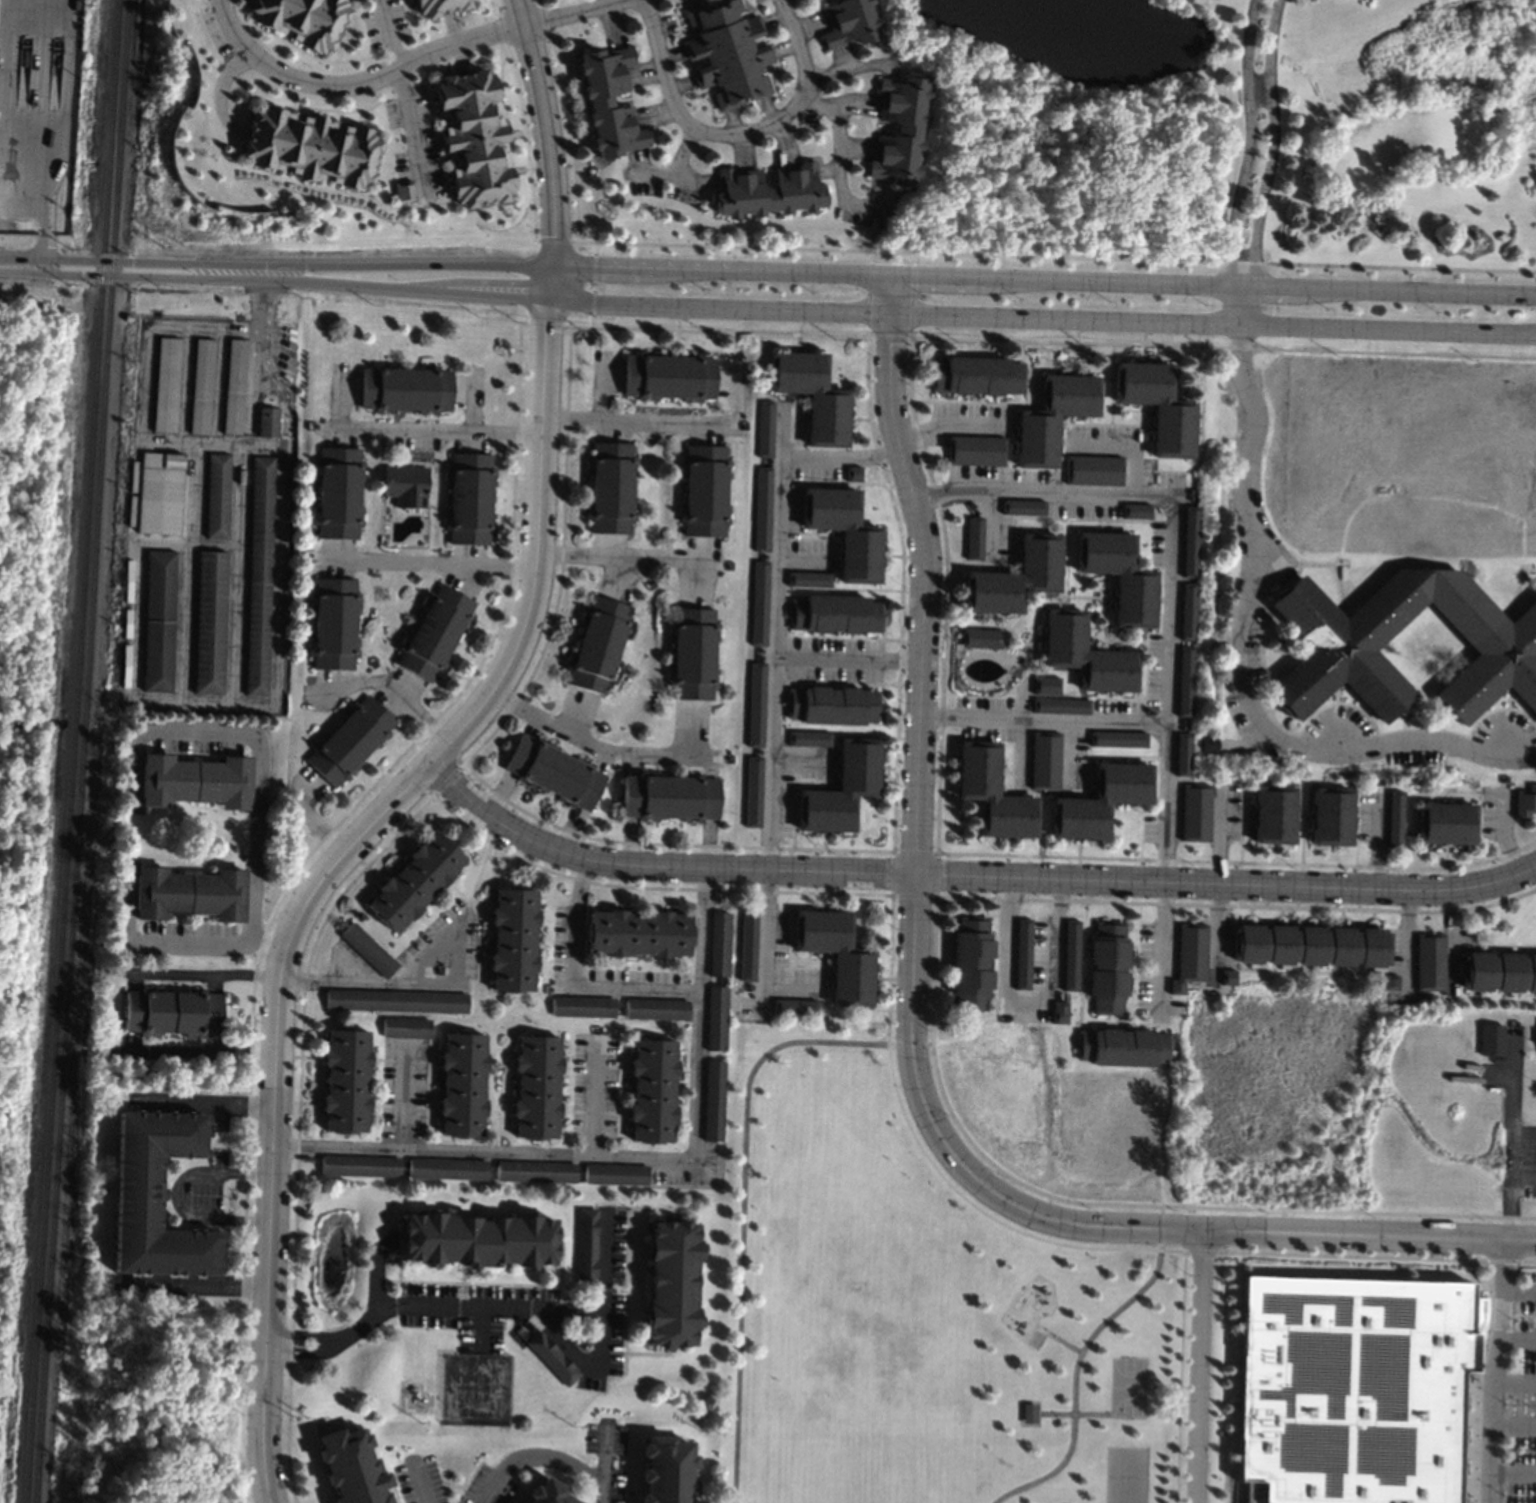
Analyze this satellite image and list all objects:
building: (438, 7)
road: (574, 13)
building: (304, 19)
building: (849, 22)
road: (388, 34)
building: (728, 52)
road: (354, 81)
road: (218, 83)
building: (610, 101)
road: (410, 128)
building: (900, 129)
road: (735, 130)
road: (32, 131)
building: (473, 139)
road: (546, 140)
building: (312, 147)
road: (683, 149)
road: (839, 150)
road: (1258, 162)
road: (665, 173)
building: (768, 191)
building: (403, 192)
road: (152, 262)
road: (600, 265)
road: (20, 266)
road: (694, 268)
road: (814, 272)
road: (940, 276)
road: (152, 278)
road: (408, 278)
road: (1114, 282)
road: (1263, 287)
road: (1411, 290)
building: (127, 316)
road: (1041, 318)
road: (265, 323)
road: (276, 365)
building: (976, 376)
building: (669, 377)
road: (249, 382)
building: (165, 384)
building: (234, 386)
building: (200, 387)
building: (405, 388)
building: (812, 394)
building: (1156, 405)
building: (1051, 417)
road: (639, 421)
building: (267, 422)
road: (281, 424)
road: (952, 427)
building: (765, 428)
building: (572, 430)
road: (432, 433)
road: (246, 435)
road: (237, 440)
road: (1125, 445)
building: (974, 450)
road: (844, 455)
building: (1093, 470)
building: (853, 473)
building: (405, 485)
building: (610, 487)
building: (704, 490)
building: (337, 492)
building: (159, 493)
building: (216, 495)
building: (468, 498)
building: (1024, 507)
building: (762, 509)
building: (1135, 510)
road: (990, 524)
building: (844, 531)
building: (975, 539)
road: (537, 540)
building: (1189, 541)
road: (804, 559)
road: (628, 560)
road: (1174, 560)
road: (425, 566)
road: (931, 571)
building: (258, 575)
building: (1118, 575)
building: (501, 576)
building: (1014, 577)
building: (808, 579)
building: (759, 603)
building: (1187, 611)
building: (835, 614)
building: (157, 620)
building: (208, 621)
building: (332, 623)
building: (433, 632)
building: (1342, 635)
building: (982, 638)
road: (779, 640)
building: (598, 644)
building: (692, 653)
building: (1085, 654)
road: (853, 662)
road: (1237, 663)
building: (1186, 681)
building: (1046, 685)
road: (393, 692)
building: (525, 698)
building: (756, 704)
building: (833, 704)
building: (1060, 705)
road: (1047, 720)
building: (127, 725)
building: (809, 738)
building: (1117, 738)
building: (349, 740)
road: (255, 743)
building: (1208, 743)
road: (1340, 745)
road: (597, 746)
railway: (71, 751)
railway: (81, 751)
road: (1506, 753)
road: (1069, 754)
building: (1183, 754)
building: (1045, 760)
building: (554, 772)
building: (194, 780)
building: (841, 789)
building: (752, 791)
building: (992, 793)
building: (670, 797)
building: (1101, 800)
building: (1524, 801)
building: (1194, 812)
building: (1272, 814)
building: (1330, 816)
building: (1394, 818)
road: (317, 822)
building: (1445, 823)
road: (1504, 830)
road: (1221, 834)
road: (1376, 839)
road: (658, 866)
building: (414, 881)
road: (1088, 881)
road: (1400, 891)
building: (188, 893)
building: (716, 897)
road: (1219, 924)
building: (638, 933)
building: (512, 939)
road: (1406, 939)
road: (176, 942)
building: (719, 944)
road: (768, 944)
building: (748, 945)
building: (1308, 945)
building: (367, 949)
road: (914, 950)
building: (835, 953)
road: (1161, 953)
building: (1022, 954)
building: (1070, 955)
building: (1189, 956)
building: (1428, 960)
building: (970, 964)
building: (1106, 967)
building: (1497, 971)
building: (1226, 976)
road: (202, 977)
building: (1389, 981)
road: (443, 982)
road: (574, 983)
road: (792, 989)
road: (1025, 999)
building: (396, 1000)
building: (582, 1006)
building: (795, 1006)
building: (656, 1008)
building: (172, 1011)
building: (1058, 1012)
building: (718, 1017)
building: (404, 1027)
building: (1490, 1039)
building: (1121, 1046)
road: (195, 1053)
building: (1496, 1060)
building: (344, 1080)
building: (461, 1083)
building: (536, 1086)
building: (652, 1089)
road: (403, 1096)
road: (595, 1099)
building: (713, 1100)
road: (202, 1105)
road: (278, 1107)
road: (1509, 1132)
road: (1522, 1134)
road: (628, 1156)
building: (304, 1158)
parking lot: (1522, 1160)
building: (359, 1166)
building: (447, 1168)
building: (535, 1171)
building: (615, 1173)
road: (1522, 1176)
road: (174, 1194)
building: (155, 1196)
road: (743, 1201)
road: (1107, 1227)
building: (477, 1239)
road: (1479, 1239)
building: (584, 1246)
building: (670, 1283)
road: (195, 1286)
road: (376, 1286)
road: (1520, 1290)
road: (464, 1306)
park: (922, 1310)
road: (480, 1329)
road: (1518, 1334)
road: (302, 1336)
road: (601, 1337)
road: (303, 1349)
building: (551, 1358)
road: (1198, 1366)
road: (1074, 1371)
road: (1493, 1371)
road: (1514, 1381)
park: (1128, 1388)
building: (1353, 1388)
parking lot: (1514, 1396)
building: (1029, 1413)
road: (1513, 1423)
road: (604, 1451)
road: (544, 1455)
building: (351, 1467)
building: (666, 1470)
road: (1511, 1472)
park: (1125, 1475)
road: (422, 1480)
park: (795, 1492)
building: (548, 1493)

